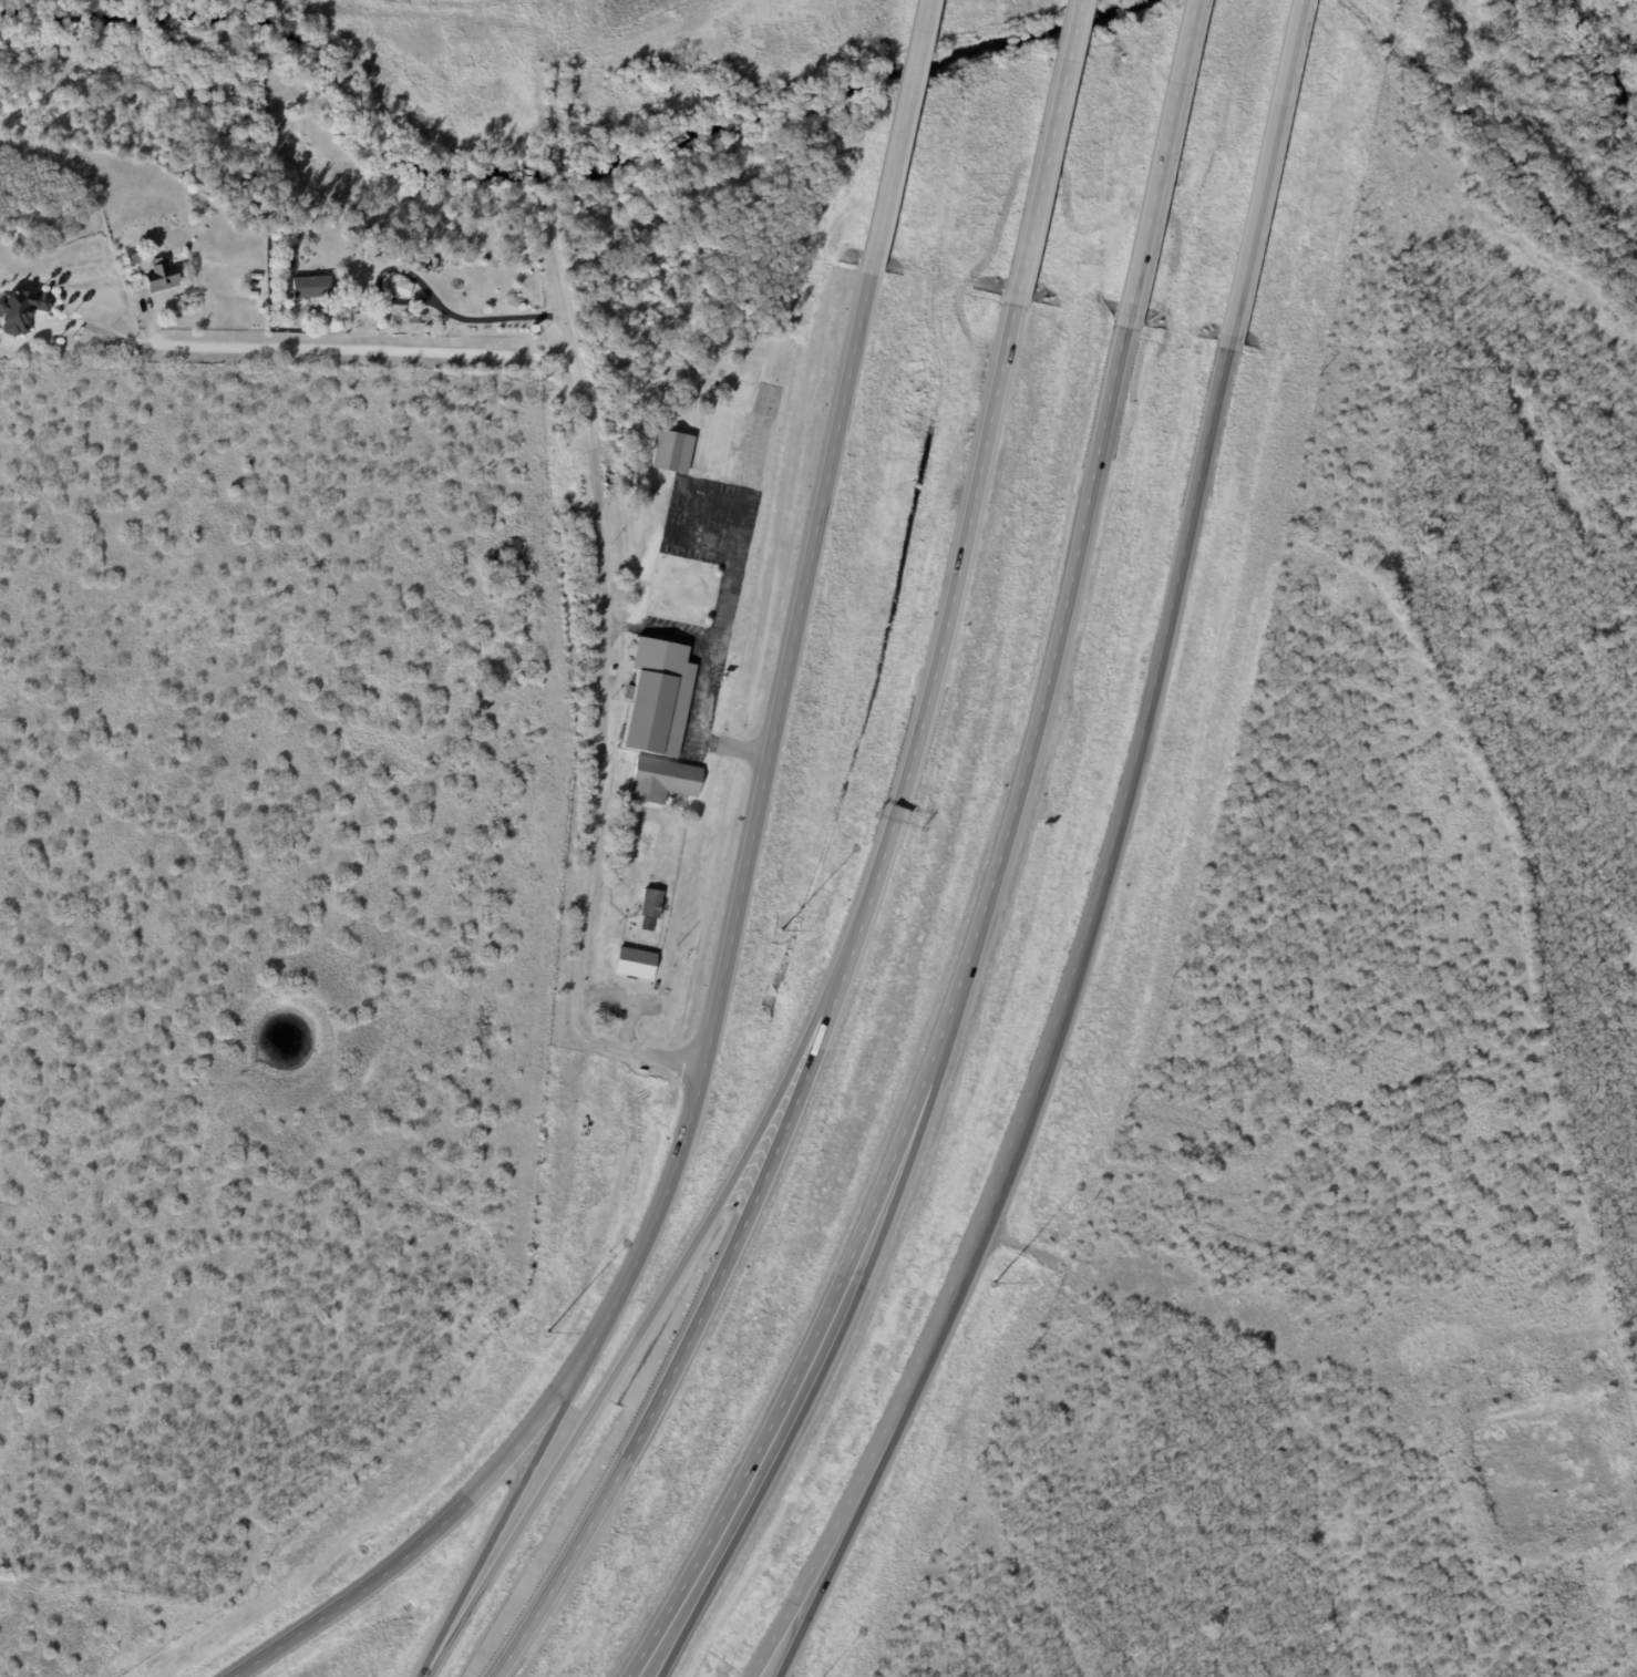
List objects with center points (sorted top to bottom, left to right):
road: (899, 115)
road: (553, 131)
road: (1044, 145)
road: (1154, 164)
road: (1259, 174)
building: (159, 277)
building: (399, 286)
building: (310, 287)
road: (430, 299)
building: (19, 309)
road: (83, 326)
road: (371, 350)
park: (743, 384)
park: (768, 400)
building: (671, 452)
road: (730, 503)
road: (699, 538)
road: (619, 625)
road: (672, 637)
road: (943, 641)
road: (789, 652)
road: (603, 671)
building: (656, 696)
road: (692, 730)
building: (662, 779)
road: (979, 902)
building: (649, 907)
road: (1078, 957)
building: (634, 963)
road: (625, 1001)
road: (651, 1224)
road: (642, 1330)
road: (684, 1341)
road: (504, 1516)
road: (423, 1540)
road: (696, 1563)
road: (711, 1563)
road: (791, 1606)
road: (804, 1606)
road: (423, 1671)

